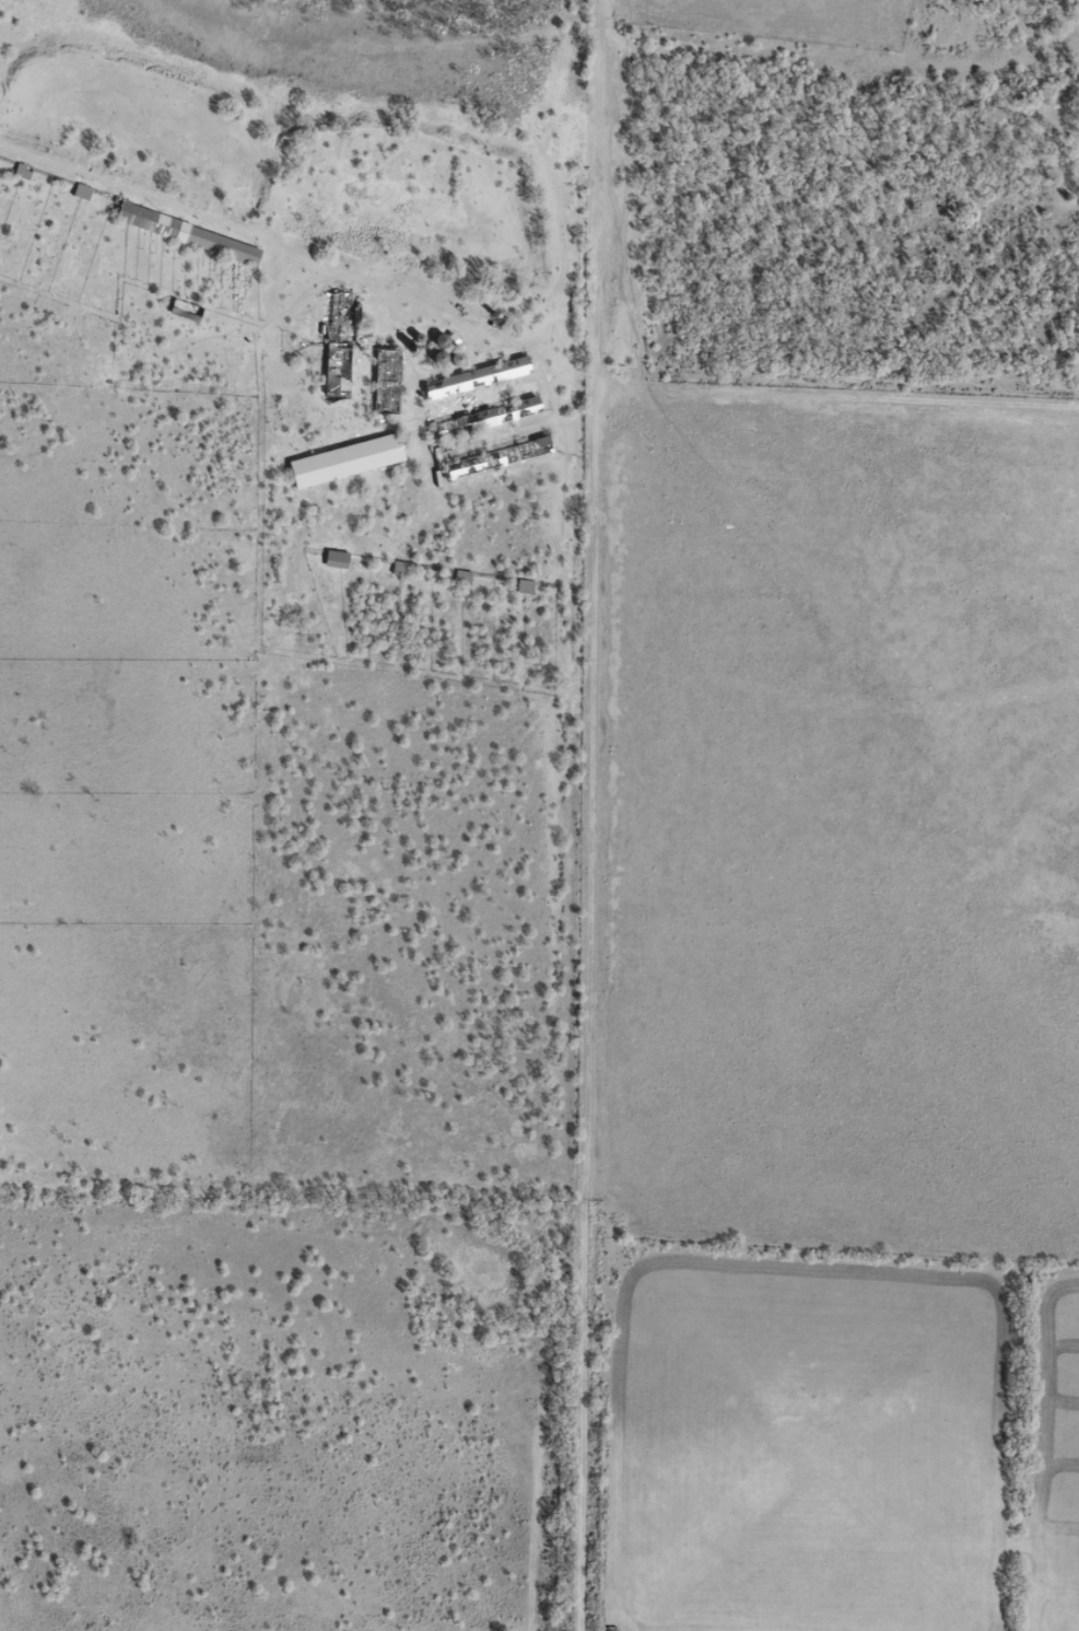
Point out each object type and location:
building: (24, 171)
building: (84, 190)
road: (199, 215)
building: (190, 234)
building: (339, 346)
building: (479, 376)
building: (388, 381)
building: (490, 417)
building: (499, 457)
building: (348, 459)
building: (337, 559)
building: (526, 585)
road: (578, 815)

